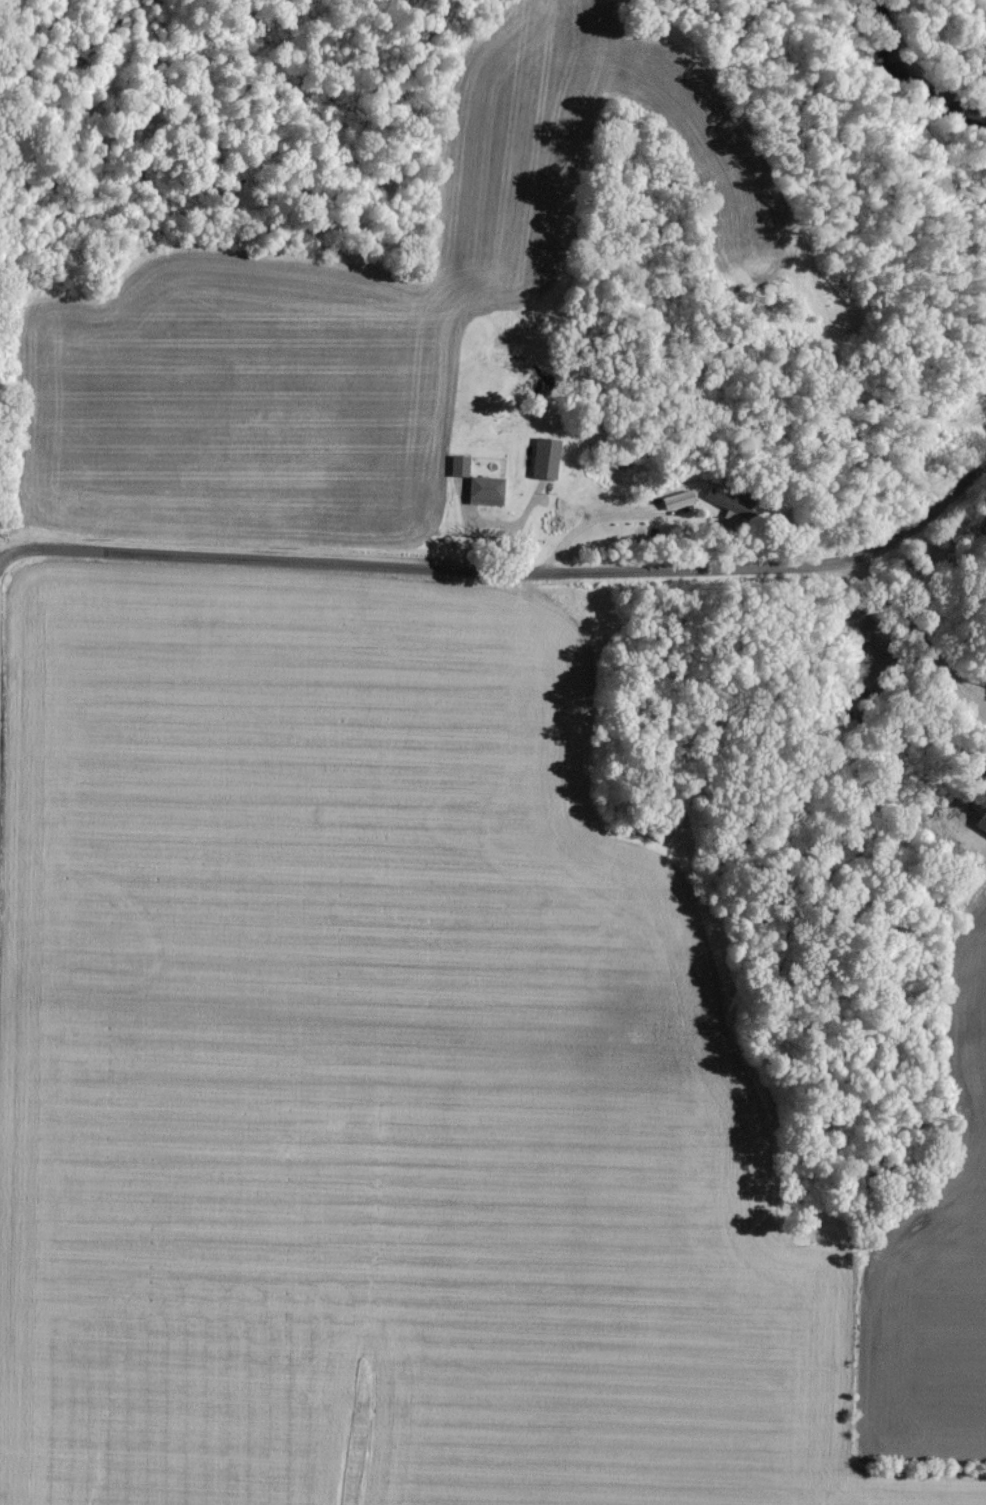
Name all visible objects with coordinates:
building: (546, 457)
building: (459, 464)
building: (486, 489)
road: (501, 560)
crop: (414, 1093)

